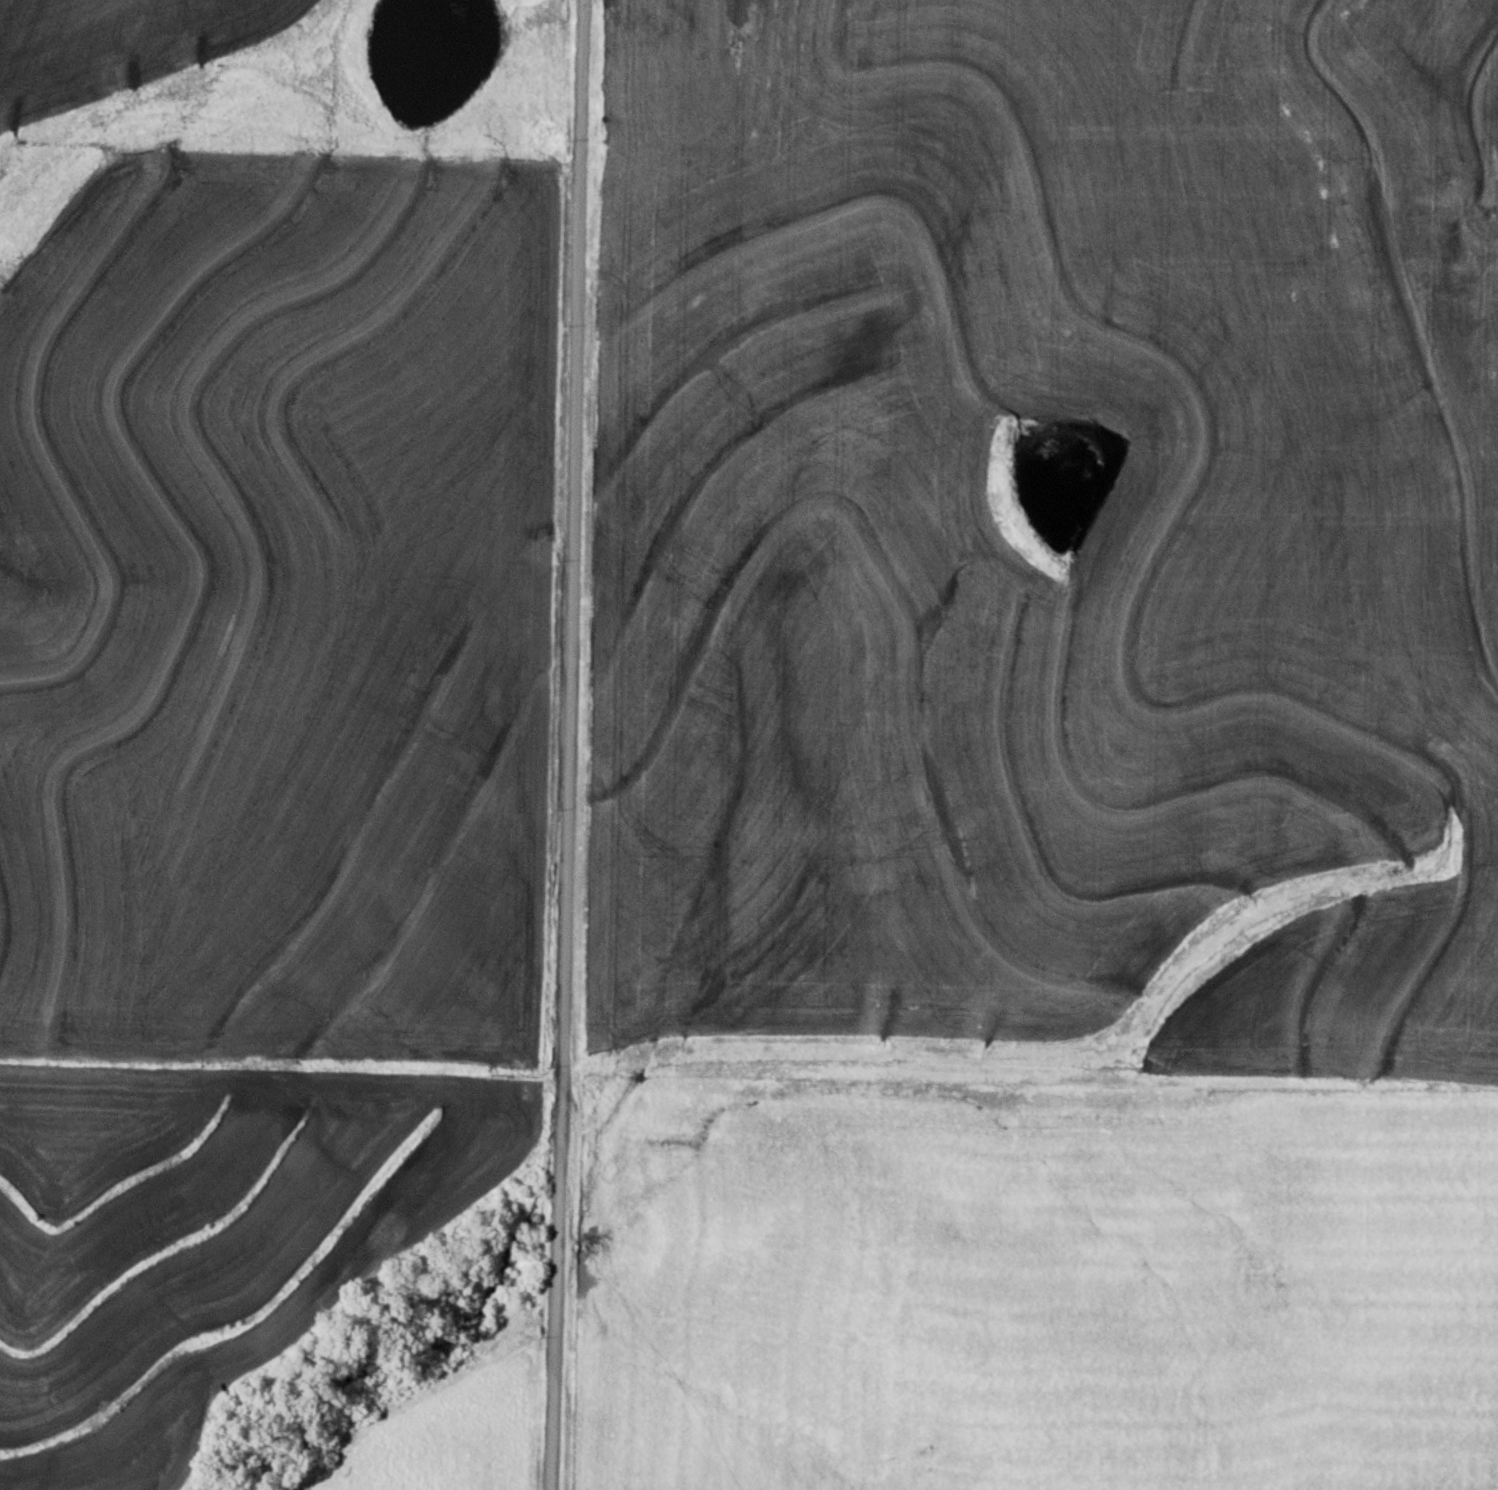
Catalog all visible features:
road: (565, 744)

